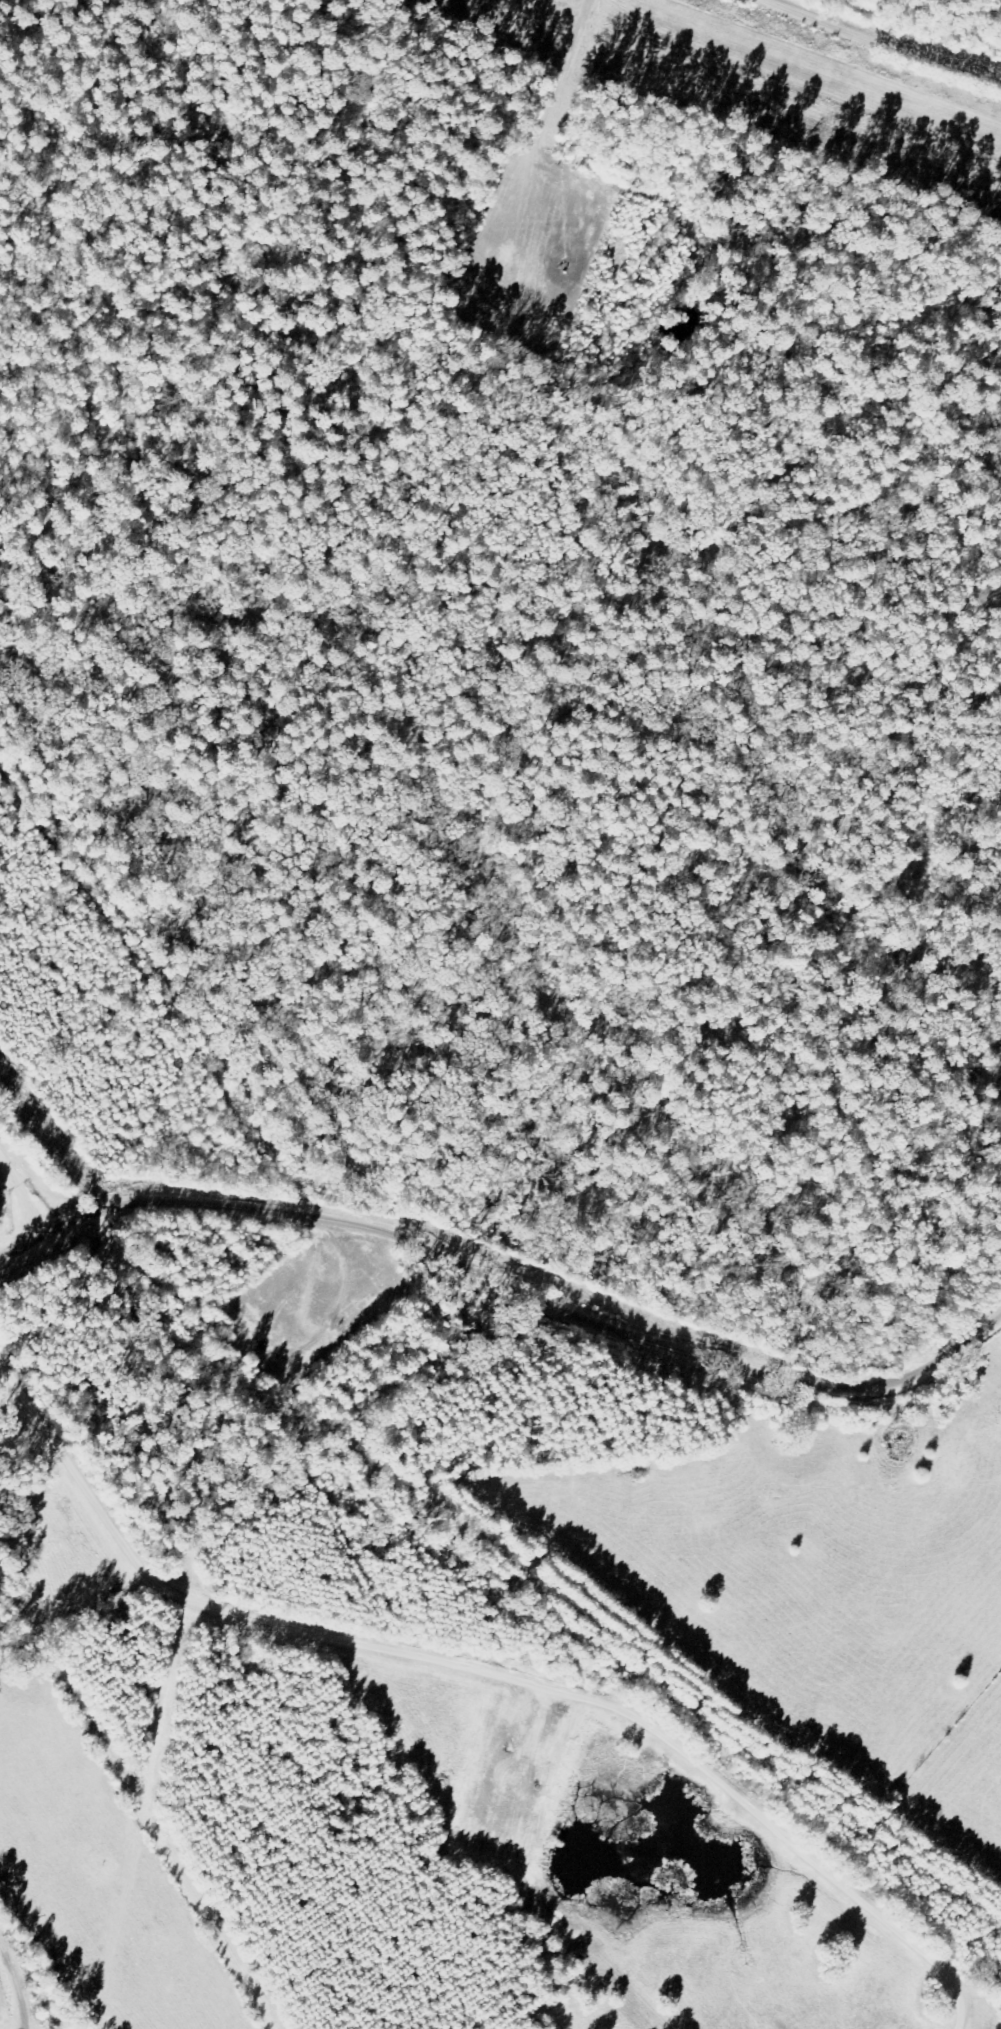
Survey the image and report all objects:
road: (504, 1258)

